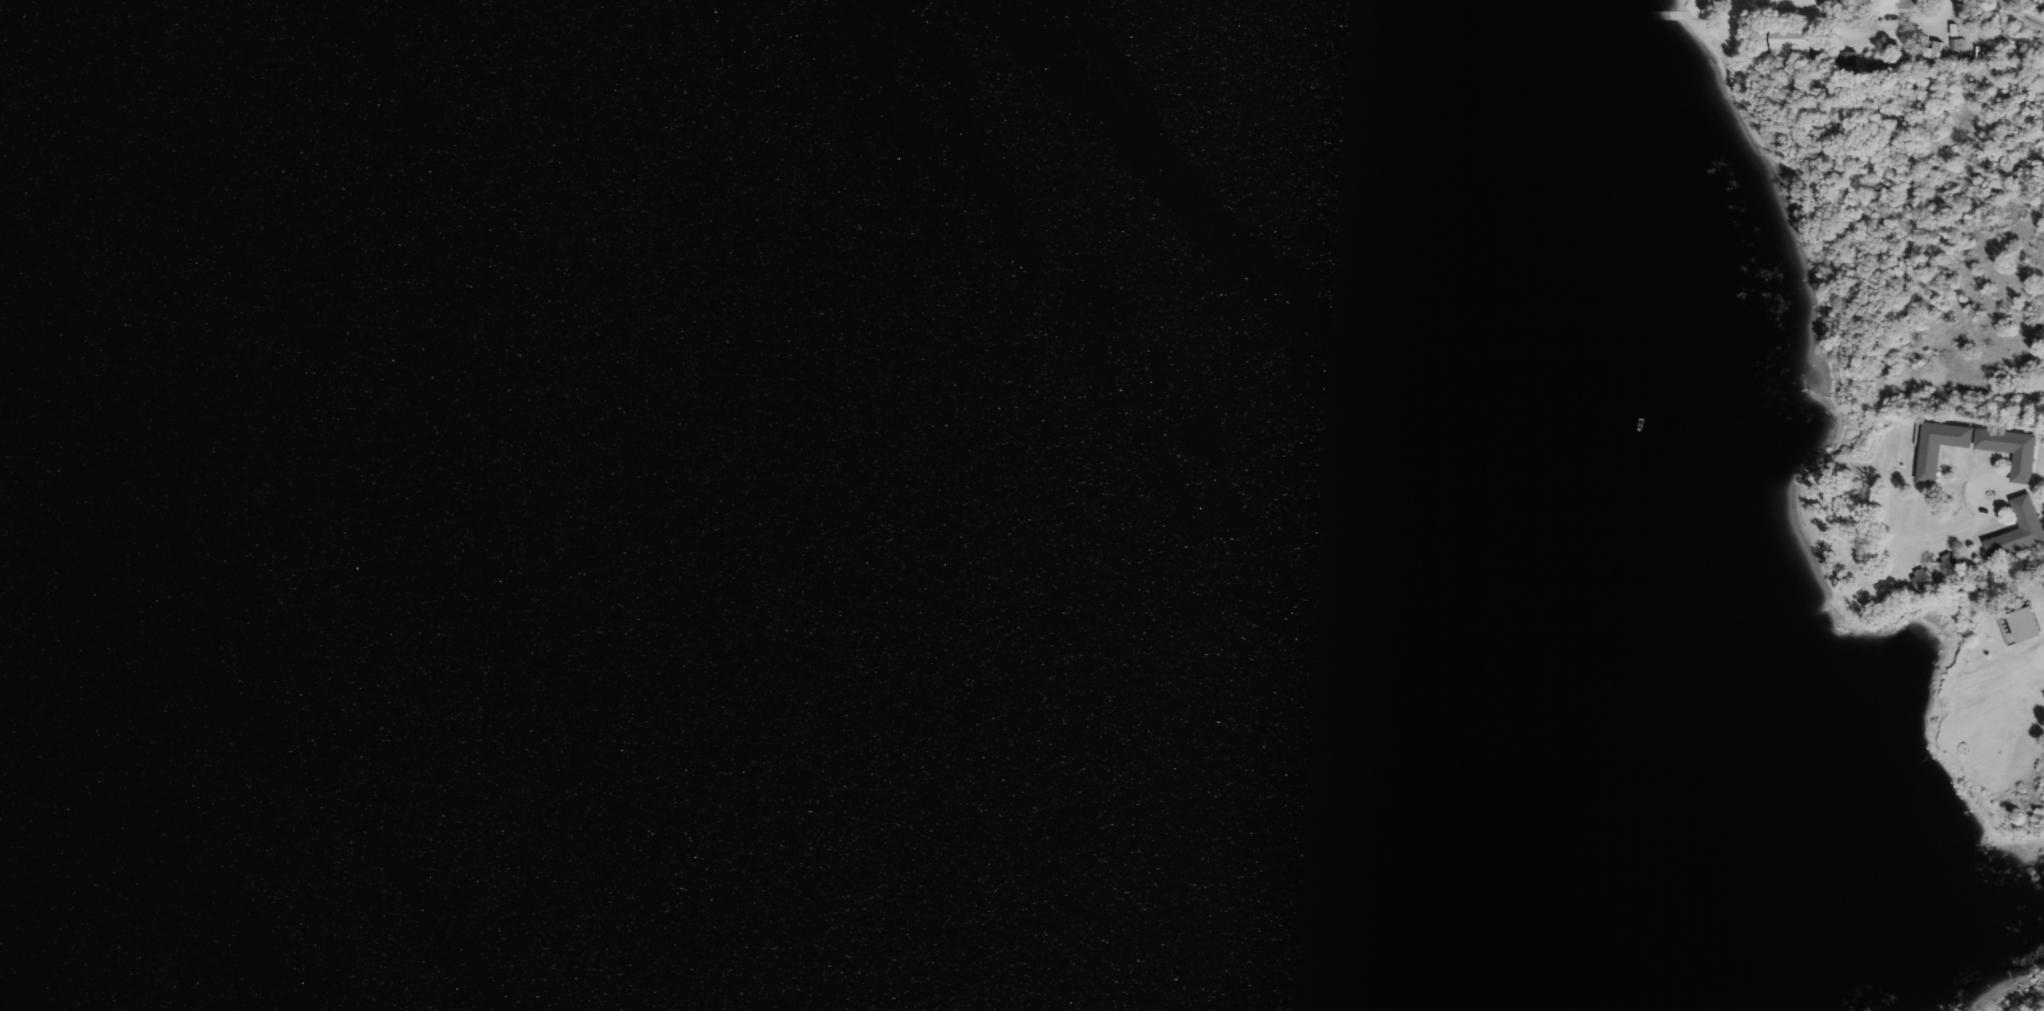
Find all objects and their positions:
building: (1904, 4)
road: (2021, 13)
road: (1899, 22)
building: (1795, 42)
building: (1934, 52)
building: (1940, 447)
building: (2012, 450)
road: (2031, 486)
building: (2018, 531)
building: (1950, 563)
building: (1923, 580)
building: (2027, 623)

